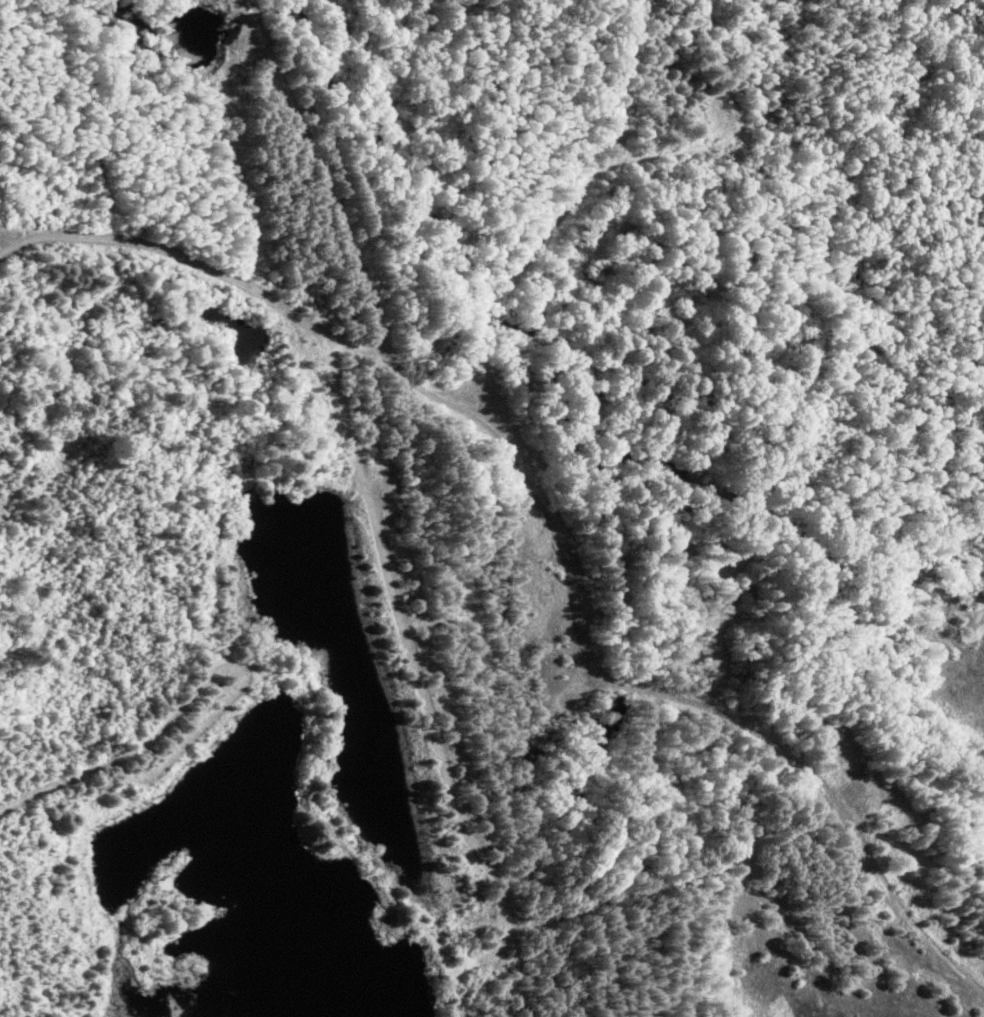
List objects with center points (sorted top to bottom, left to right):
road: (792, 507)

